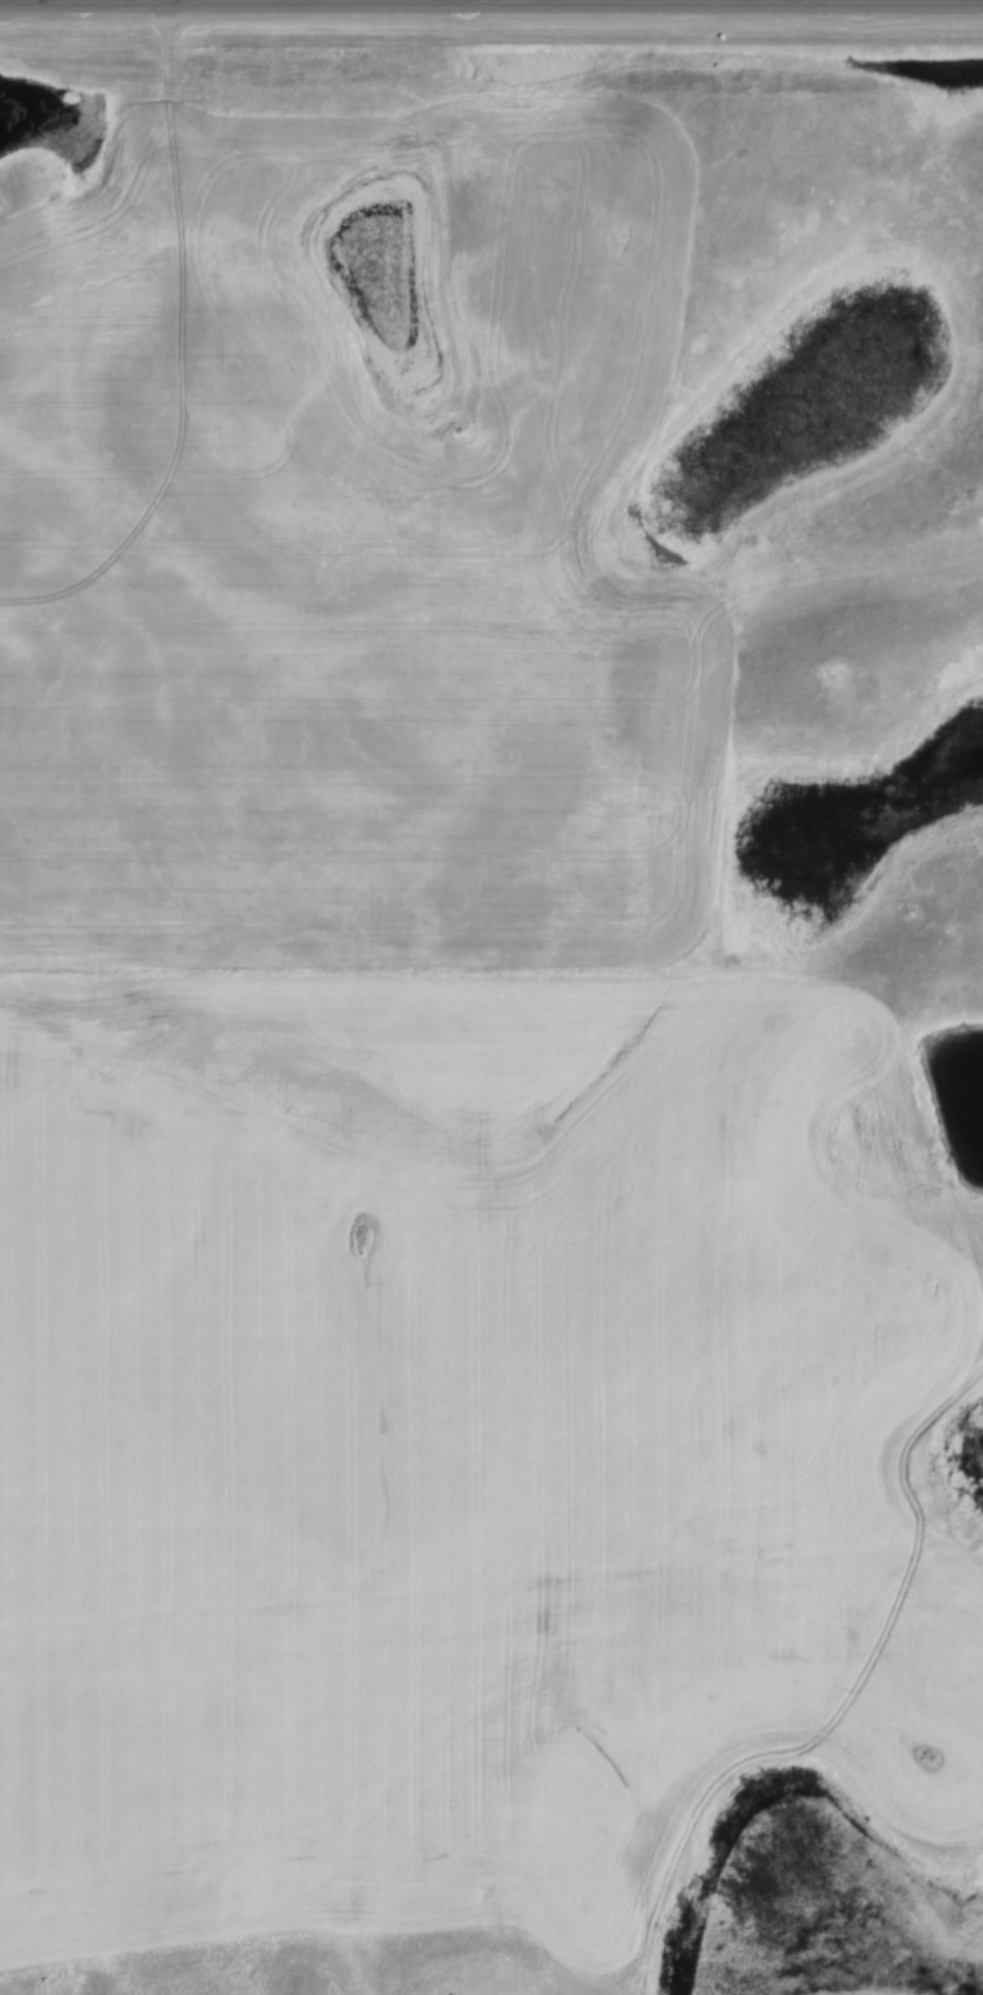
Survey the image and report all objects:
road: (188, 353)

